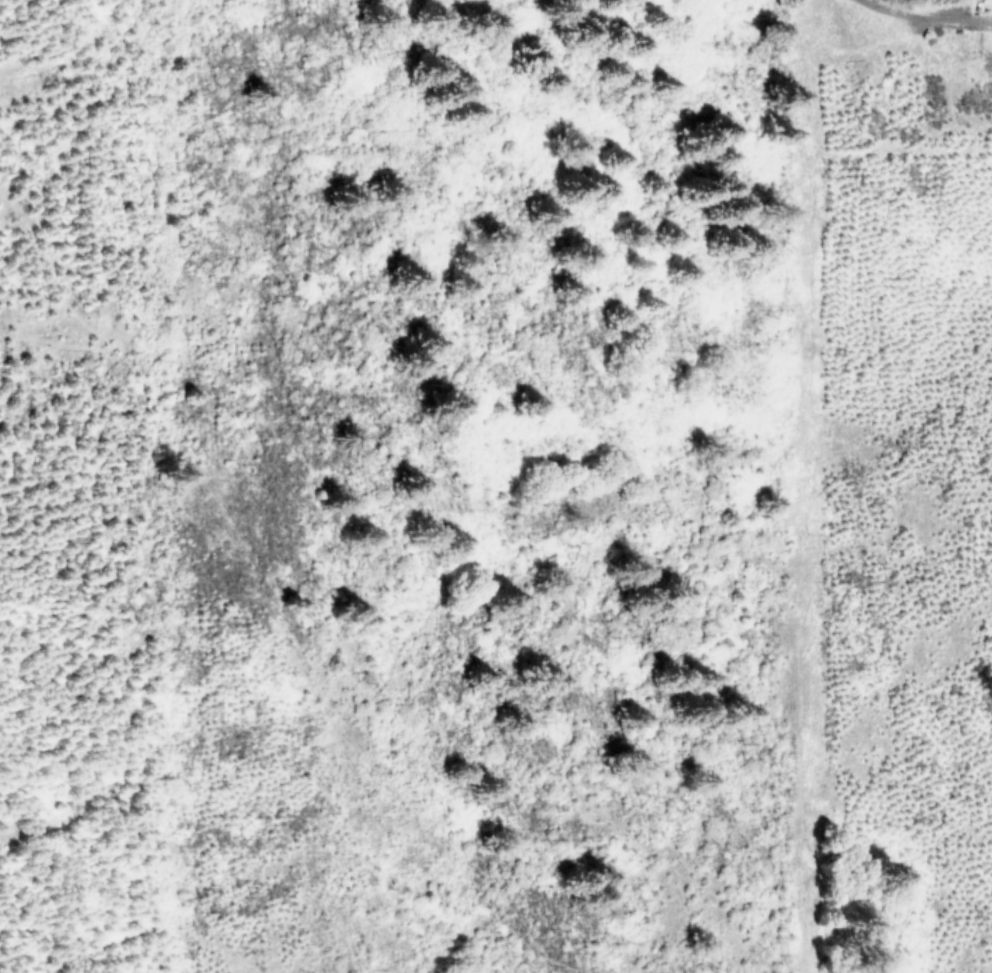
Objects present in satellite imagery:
road: (915, 14)

